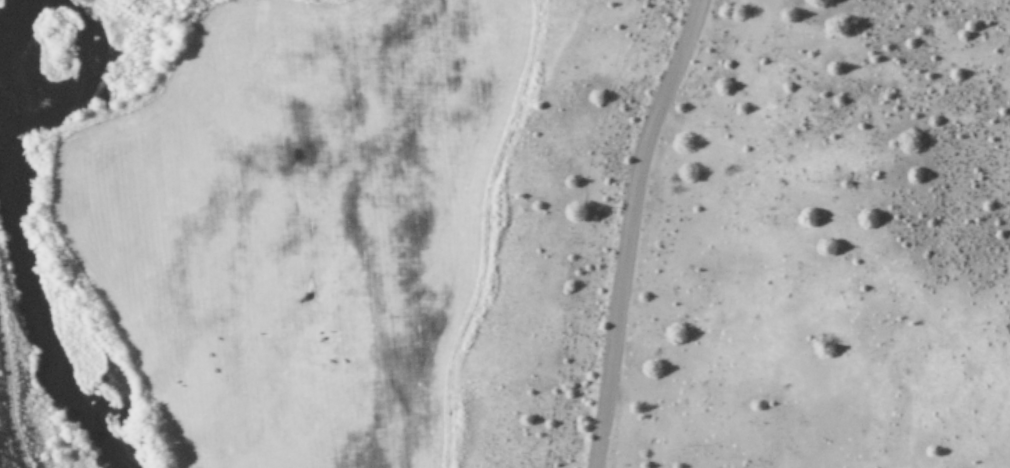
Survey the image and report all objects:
river: (0, 0)
river: (78, 61)
road: (636, 229)
river: (29, 284)

